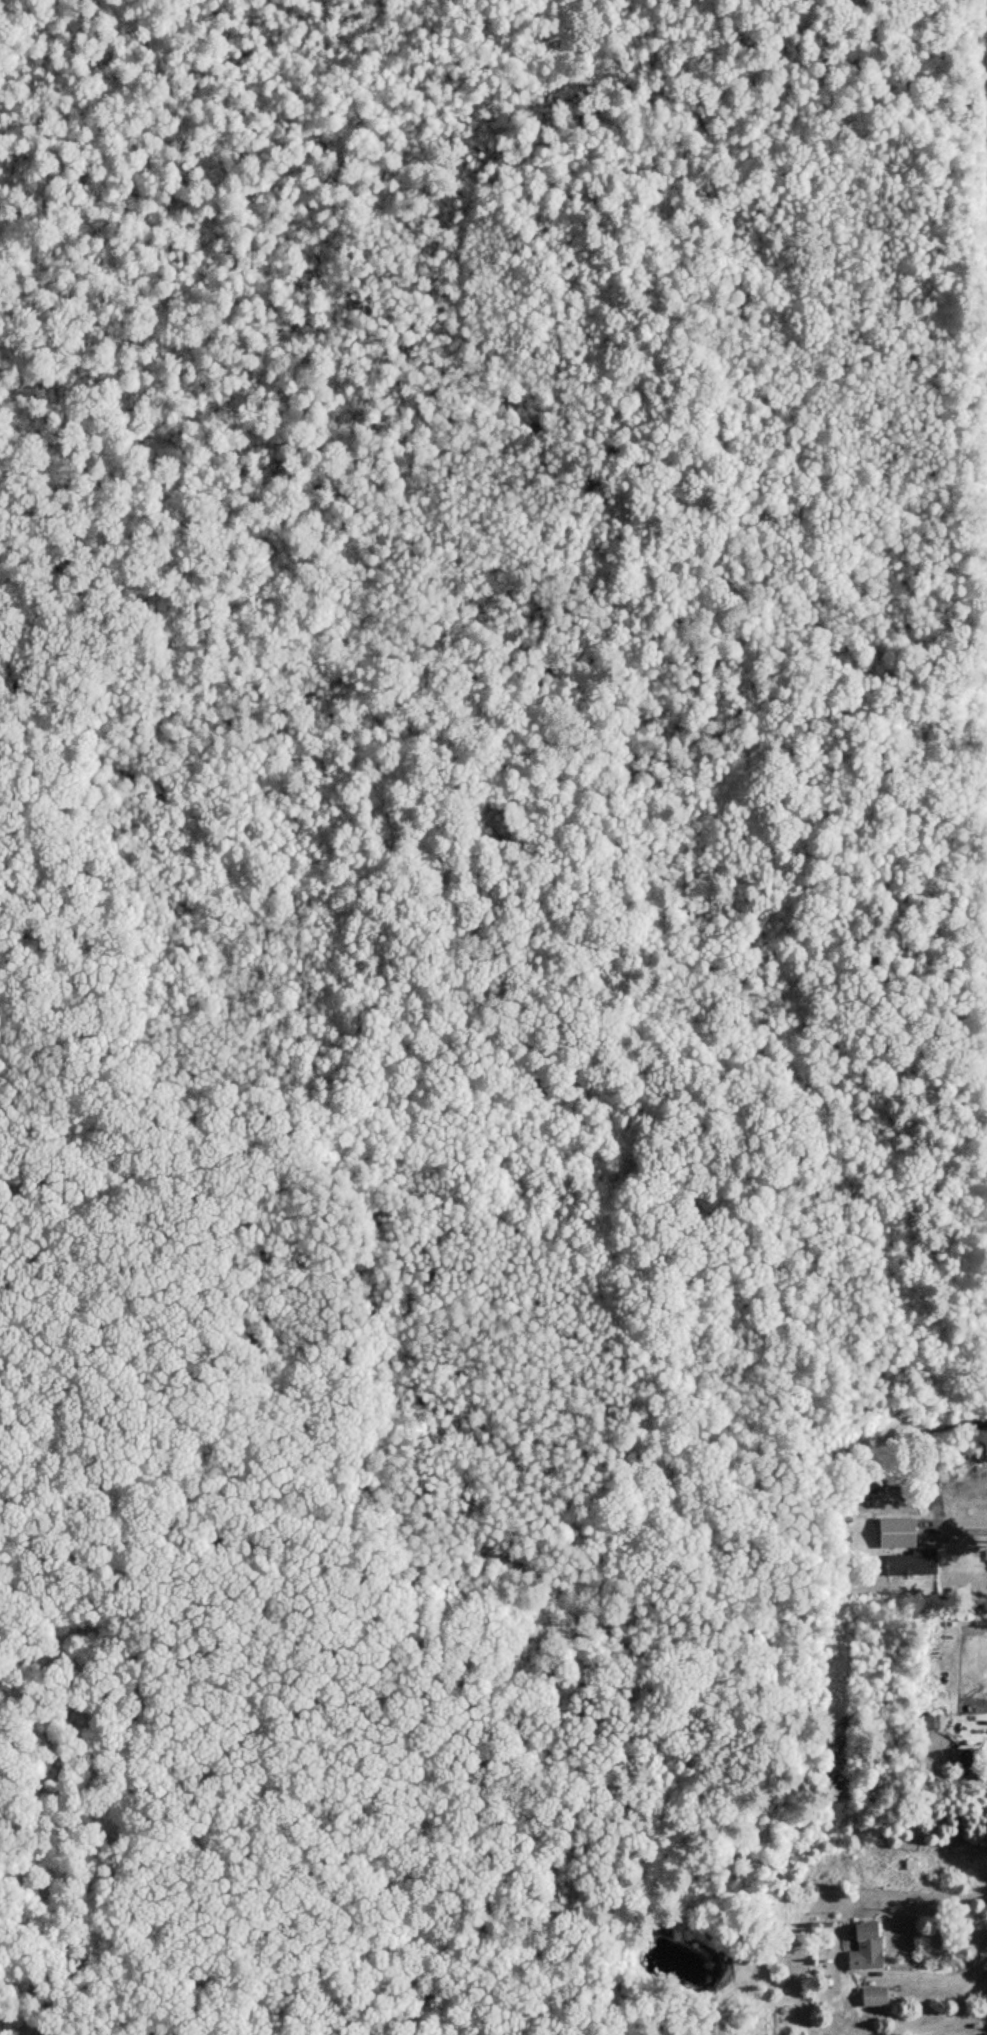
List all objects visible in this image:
road: (516, 1256)
building: (898, 1532)
building: (913, 1563)
building: (934, 1721)
building: (969, 1761)
building: (867, 1946)
road: (950, 1979)
building: (875, 1996)
road: (951, 2013)

